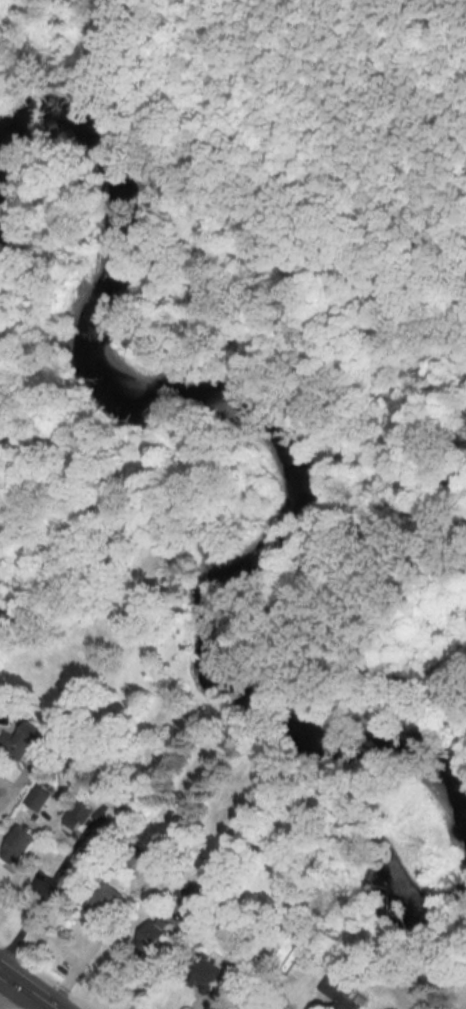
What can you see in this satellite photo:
road: (131, 2)
road: (401, 83)
park: (304, 296)
road: (197, 301)
river: (281, 520)
road: (280, 662)
building: (26, 740)
road: (4, 792)
building: (37, 797)
building: (76, 817)
park: (449, 841)
building: (19, 844)
building: (162, 854)
building: (79, 878)
road: (13, 882)
building: (104, 903)
building: (154, 934)
road: (86, 955)
building: (294, 958)
building: (216, 972)
road: (153, 979)
road: (6, 990)
road: (24, 991)
building: (340, 993)
road: (211, 1002)

